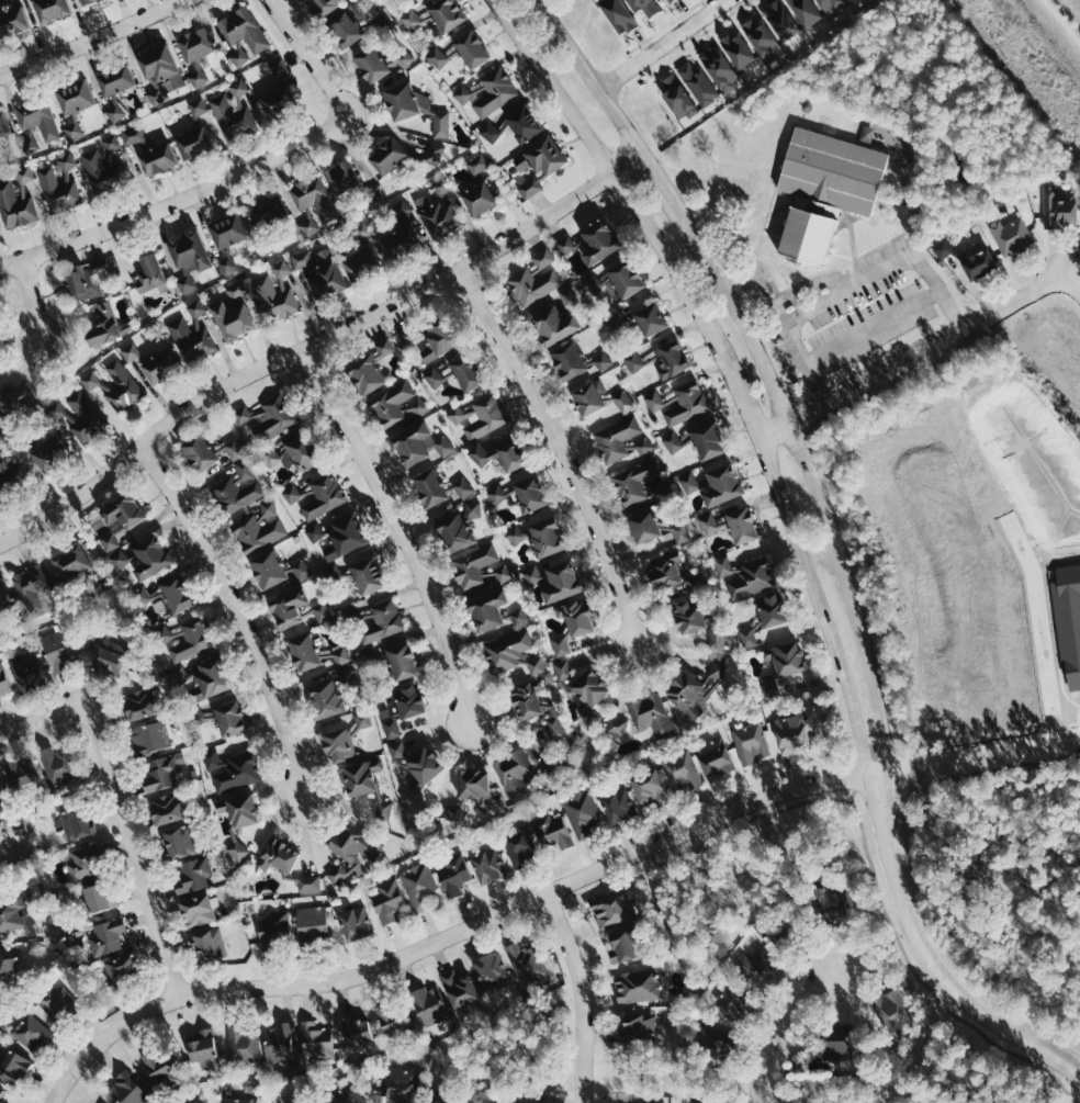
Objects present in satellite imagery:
building: (410, 0)
building: (655, 0)
building: (668, 0)
building: (843, 0)
building: (88, 1)
building: (325, 5)
building: (829, 5)
building: (642, 7)
building: (50, 10)
building: (803, 12)
building: (445, 14)
building: (617, 15)
building: (410, 20)
building: (13, 21)
building: (779, 21)
building: (342, 31)
building: (241, 35)
road: (93, 38)
building: (760, 38)
building: (0, 40)
road: (660, 44)
building: (195, 45)
building: (469, 48)
building: (735, 50)
building: (404, 57)
building: (437, 57)
building: (158, 65)
building: (278, 65)
building: (369, 65)
building: (717, 69)
building: (198, 76)
building: (115, 80)
building: (698, 83)
building: (493, 92)
building: (462, 93)
building: (676, 98)
building: (403, 100)
building: (280, 102)
building: (74, 104)
building: (198, 106)
building: (113, 111)
building: (230, 117)
building: (34, 123)
building: (440, 124)
building: (521, 124)
building: (3, 126)
building: (491, 132)
building: (132, 135)
building: (113, 143)
building: (194, 143)
building: (435, 151)
building: (386, 156)
building: (158, 159)
building: (477, 164)
building: (538, 166)
building: (100, 170)
building: (23, 175)
road: (237, 175)
building: (340, 177)
building: (58, 184)
building: (824, 190)
building: (313, 198)
building: (476, 200)
building: (14, 206)
building: (1060, 206)
building: (268, 212)
building: (420, 220)
building: (308, 224)
building: (227, 230)
building: (1010, 234)
building: (599, 241)
building: (402, 245)
building: (564, 245)
building: (188, 258)
building: (301, 259)
building: (360, 263)
building: (980, 263)
building: (225, 265)
road: (887, 266)
building: (150, 274)
building: (325, 275)
building: (532, 278)
building: (626, 279)
building: (85, 280)
building: (592, 283)
road: (1075, 286)
building: (274, 292)
road: (790, 295)
building: (565, 297)
road: (29, 302)
building: (233, 311)
parking lot: (853, 314)
building: (651, 318)
building: (0, 324)
building: (553, 324)
road: (871, 326)
building: (102, 327)
building: (189, 334)
building: (408, 334)
building: (441, 336)
road: (316, 345)
building: (382, 346)
building: (1, 349)
building: (131, 353)
building: (670, 357)
road: (799, 357)
building: (569, 360)
building: (601, 360)
building: (633, 360)
road: (914, 360)
road: (760, 364)
building: (161, 367)
road: (727, 368)
building: (458, 371)
building: (113, 386)
building: (588, 397)
building: (12, 398)
building: (621, 401)
building: (652, 401)
building: (686, 402)
building: (390, 403)
building: (417, 406)
building: (457, 413)
building: (240, 415)
building: (83, 416)
building: (484, 416)
building: (271, 417)
building: (620, 439)
building: (709, 440)
building: (672, 442)
building: (412, 443)
building: (232, 448)
building: (200, 451)
building: (49, 452)
road: (563, 452)
building: (269, 454)
building: (504, 454)
building: (13, 479)
building: (693, 482)
building: (633, 483)
building: (723, 484)
building: (236, 487)
building: (430, 487)
building: (461, 487)
building: (292, 493)
building: (496, 493)
building: (531, 493)
building: (322, 495)
building: (473, 509)
building: (120, 517)
building: (734, 524)
building: (644, 526)
building: (259, 528)
road: (404, 529)
building: (455, 532)
building: (682, 532)
building: (540, 536)
building: (344, 537)
building: (151, 556)
building: (117, 559)
building: (72, 562)
building: (472, 566)
building: (269, 569)
building: (299, 569)
building: (335, 572)
building: (671, 573)
building: (369, 574)
building: (500, 574)
building: (745, 576)
building: (562, 581)
building: (32, 587)
building: (177, 593)
building: (4, 596)
building: (145, 596)
building: (289, 608)
building: (772, 609)
road: (246, 611)
building: (322, 611)
building: (492, 612)
building: (690, 616)
building: (577, 617)
building: (381, 621)
building: (162, 633)
building: (193, 637)
building: (746, 637)
building: (717, 640)
building: (558, 648)
building: (59, 649)
building: (305, 652)
building: (509, 653)
building: (338, 655)
building: (109, 656)
building: (786, 656)
building: (402, 661)
building: (561, 669)
building: (24, 672)
building: (178, 675)
building: (345, 676)
building: (212, 677)
building: (3, 680)
building: (768, 686)
building: (589, 690)
building: (686, 694)
building: (326, 698)
building: (0, 700)
building: (140, 704)
building: (533, 706)
building: (403, 707)
building: (650, 717)
building: (229, 718)
road: (90, 719)
building: (615, 725)
building: (792, 731)
building: (148, 739)
building: (750, 743)
building: (338, 744)
building: (396, 750)
building: (713, 756)
road: (980, 761)
building: (57, 763)
building: (424, 766)
building: (552, 767)
building: (229, 768)
building: (22, 770)
building: (679, 772)
building: (160, 773)
building: (513, 774)
building: (361, 778)
building: (475, 786)
building: (650, 787)
building: (1, 797)
building: (617, 806)
building: (166, 808)
building: (241, 809)
building: (381, 809)
building: (386, 810)
building: (581, 813)
building: (77, 821)
building: (20, 825)
building: (551, 832)
building: (178, 842)
building: (519, 847)
building: (236, 849)
building: (349, 849)
building: (278, 855)
building: (83, 859)
building: (487, 865)
building: (452, 874)
building: (191, 876)
building: (308, 882)
building: (418, 886)
building: (98, 897)
building: (386, 900)
road: (154, 902)
building: (612, 908)
building: (833, 908)
building: (196, 910)
building: (11, 913)
building: (355, 922)
building: (312, 925)
building: (272, 928)
building: (785, 932)
building: (106, 934)
road: (453, 934)
building: (627, 944)
building: (207, 945)
road: (929, 955)
building: (525, 963)
building: (7, 965)
building: (488, 968)
building: (765, 968)
building: (122, 969)
building: (635, 984)
building: (458, 988)
road: (581, 994)
building: (56, 1002)
building: (428, 1003)
building: (735, 1005)
building: (893, 1014)
building: (393, 1020)
building: (356, 1028)
building: (637, 1028)
road: (775, 1028)
building: (30, 1033)
building: (314, 1039)
building: (712, 1039)
building: (835, 1040)
building: (278, 1042)
building: (241, 1045)
building: (201, 1047)
building: (13, 1067)
building: (161, 1068)
building: (397, 1084)
building: (125, 1090)
building: (1, 1091)
building: (345, 1095)
building: (441, 1096)
building: (527, 1100)
building: (199, 1101)
building: (236, 1101)
building: (640, 1101)
building: (1, 1102)

